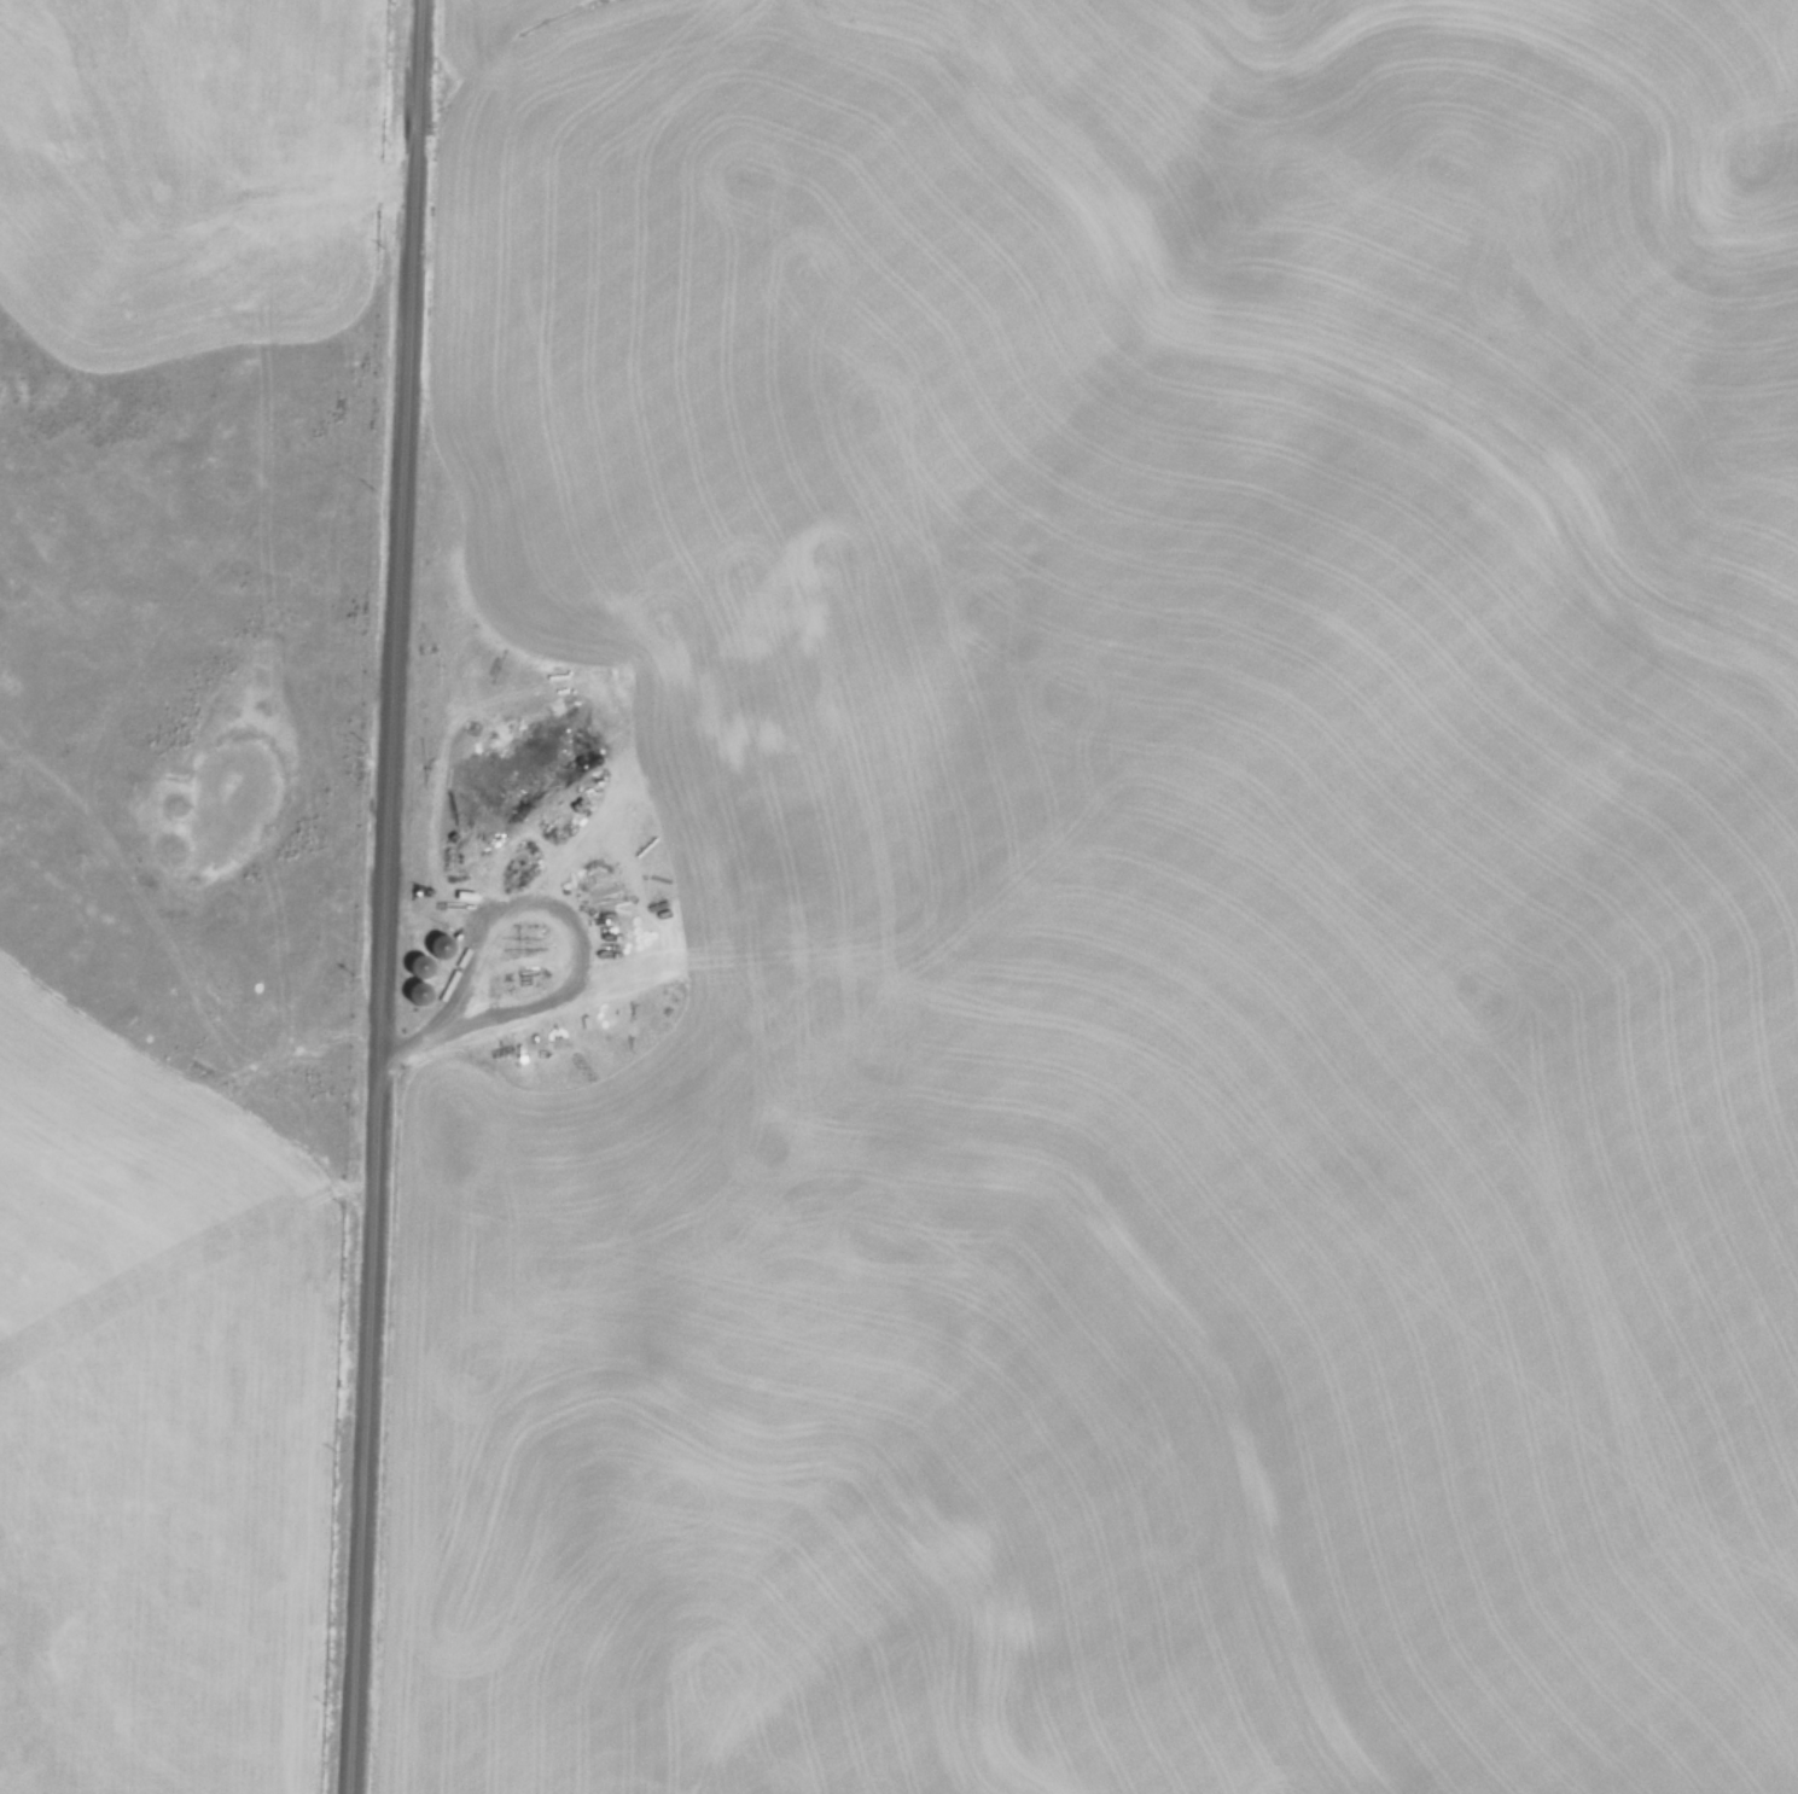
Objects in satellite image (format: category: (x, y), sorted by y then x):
road: (389, 897)

